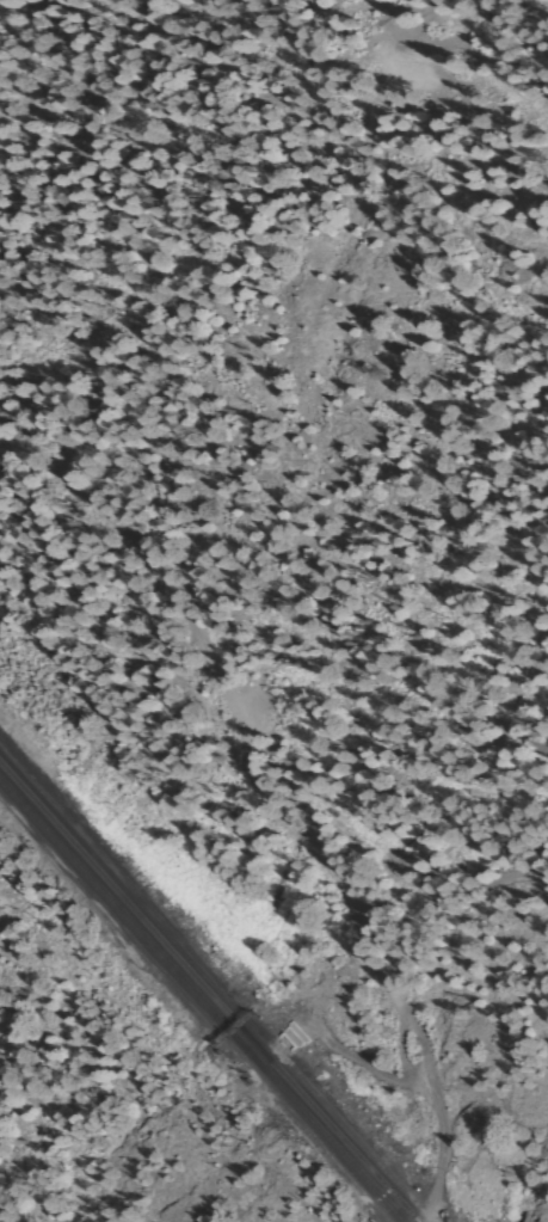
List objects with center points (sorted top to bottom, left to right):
road: (259, 781)
railway: (207, 993)
railway: (199, 1002)
road: (430, 1196)

